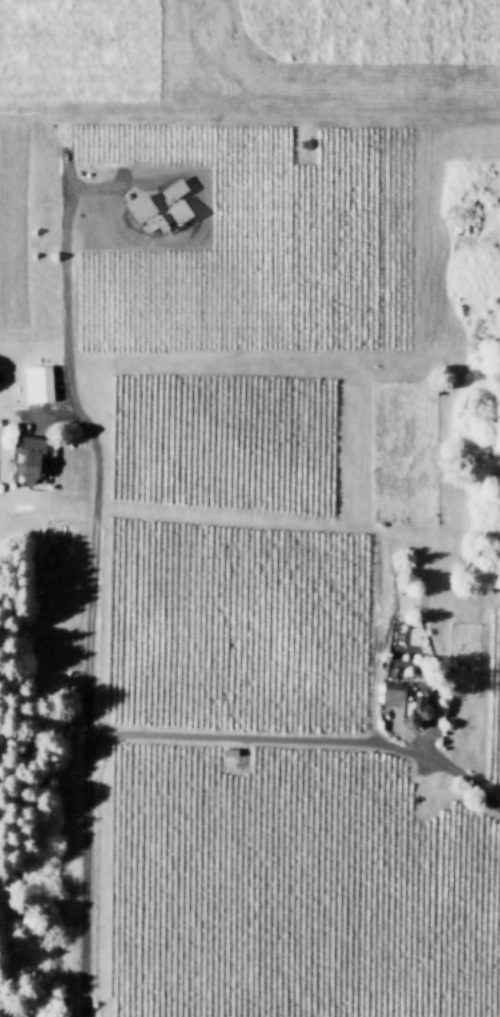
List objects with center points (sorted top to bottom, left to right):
road: (305, 113)
building: (310, 142)
building: (156, 207)
crop: (214, 236)
road: (66, 308)
building: (42, 383)
building: (437, 388)
crop: (220, 439)
building: (35, 457)
building: (385, 524)
road: (94, 553)
building: (404, 582)
crop: (232, 624)
building: (456, 662)
crop: (491, 693)
building: (413, 699)
road: (301, 738)
road: (419, 740)
road: (428, 761)
road: (88, 882)
crop: (291, 888)

